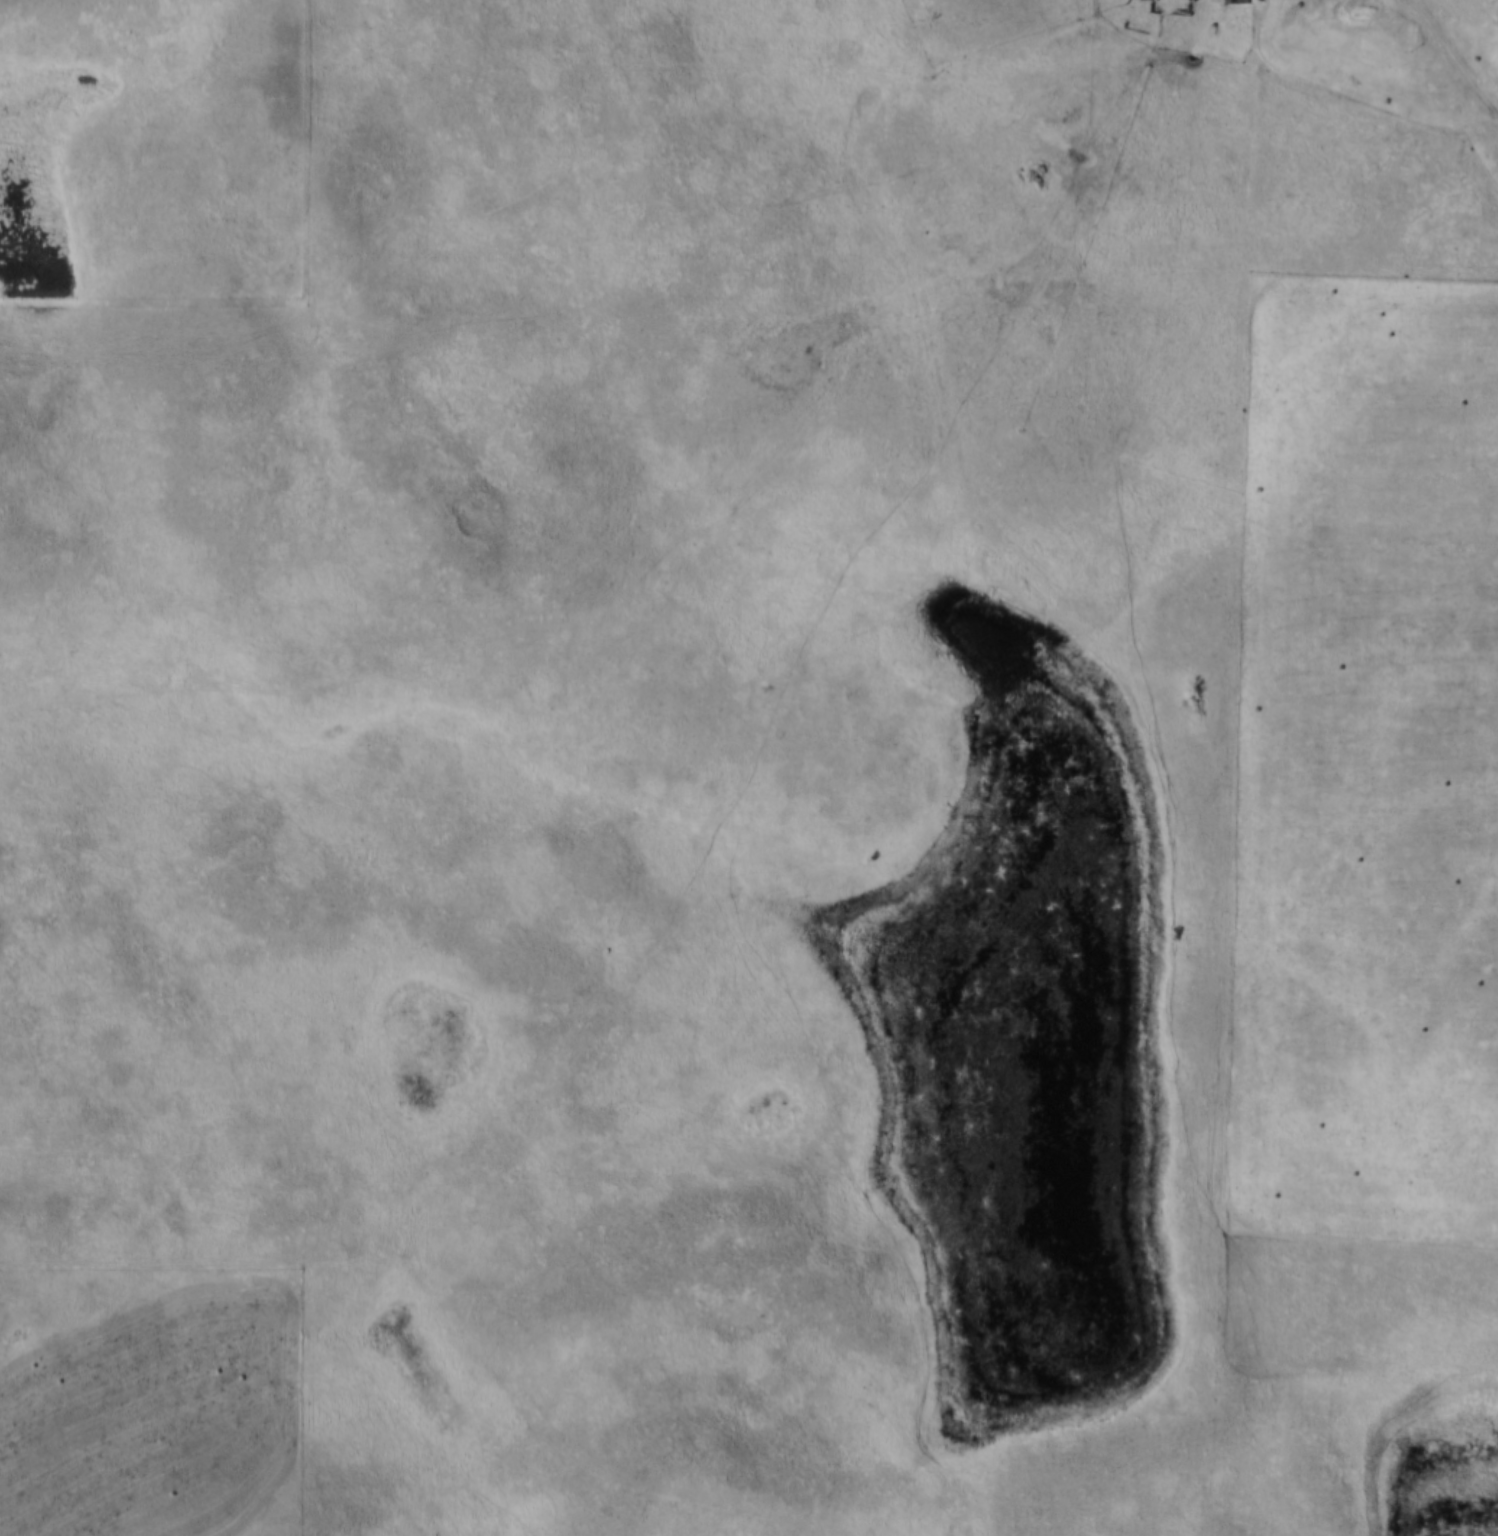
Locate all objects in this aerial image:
building: (1229, 1)
building: (1363, 8)
road: (1454, 59)
building: (1433, 84)

